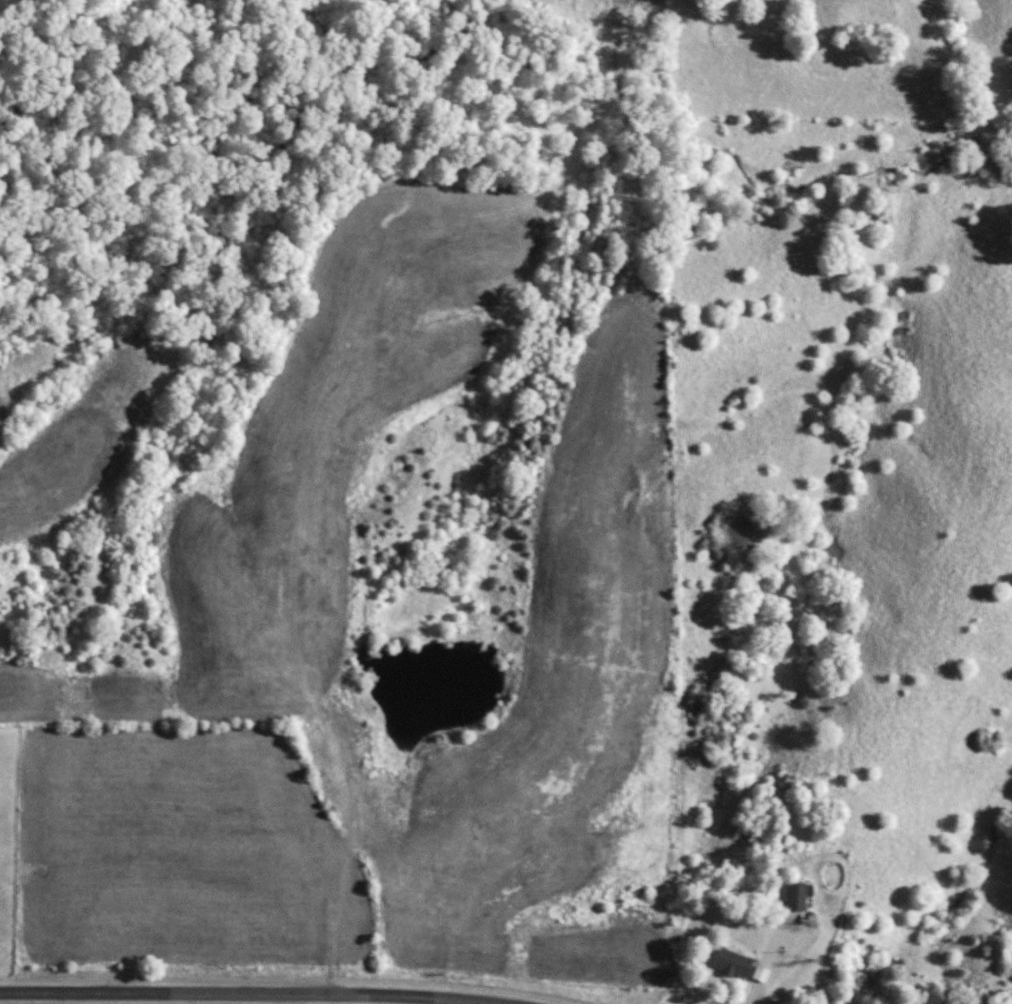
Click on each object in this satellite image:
building: (798, 895)
building: (735, 962)
road: (255, 993)

